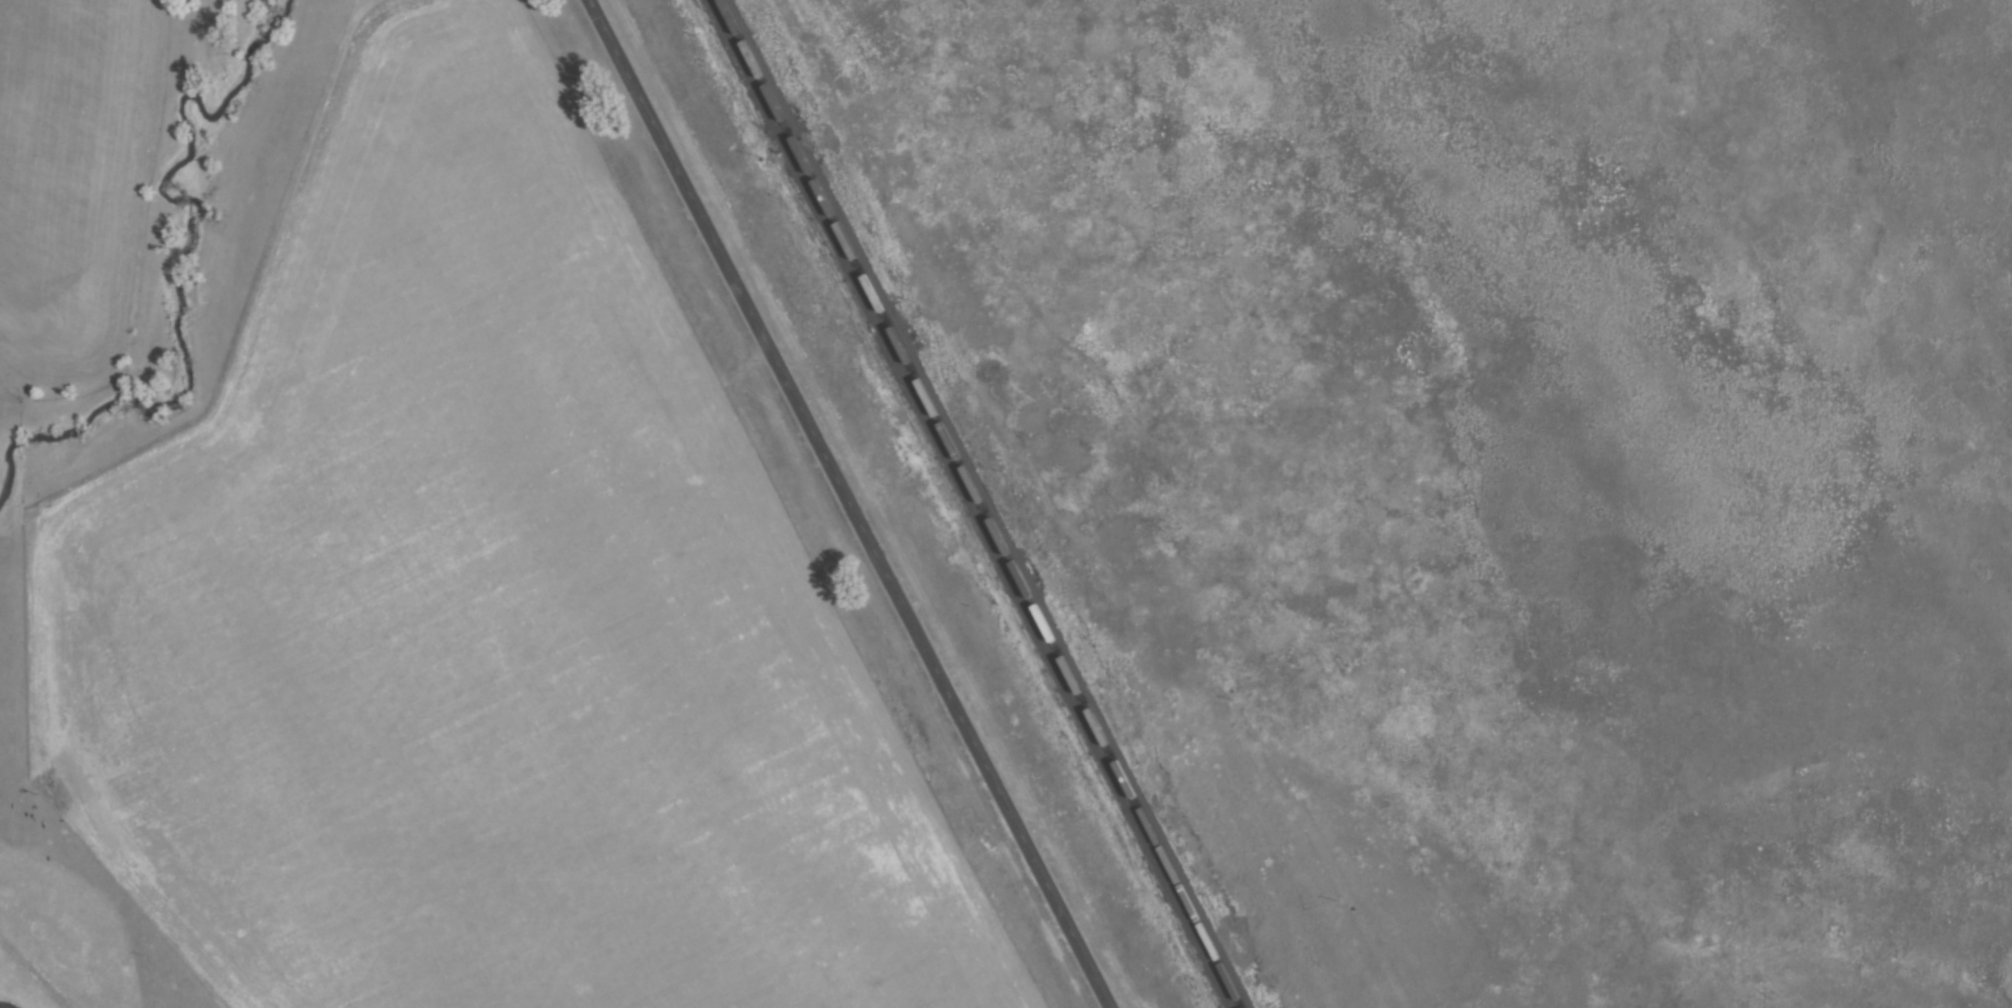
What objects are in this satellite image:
crop: (67, 174)
road: (852, 503)
railway: (984, 503)
railway: (973, 504)
crop: (491, 613)

